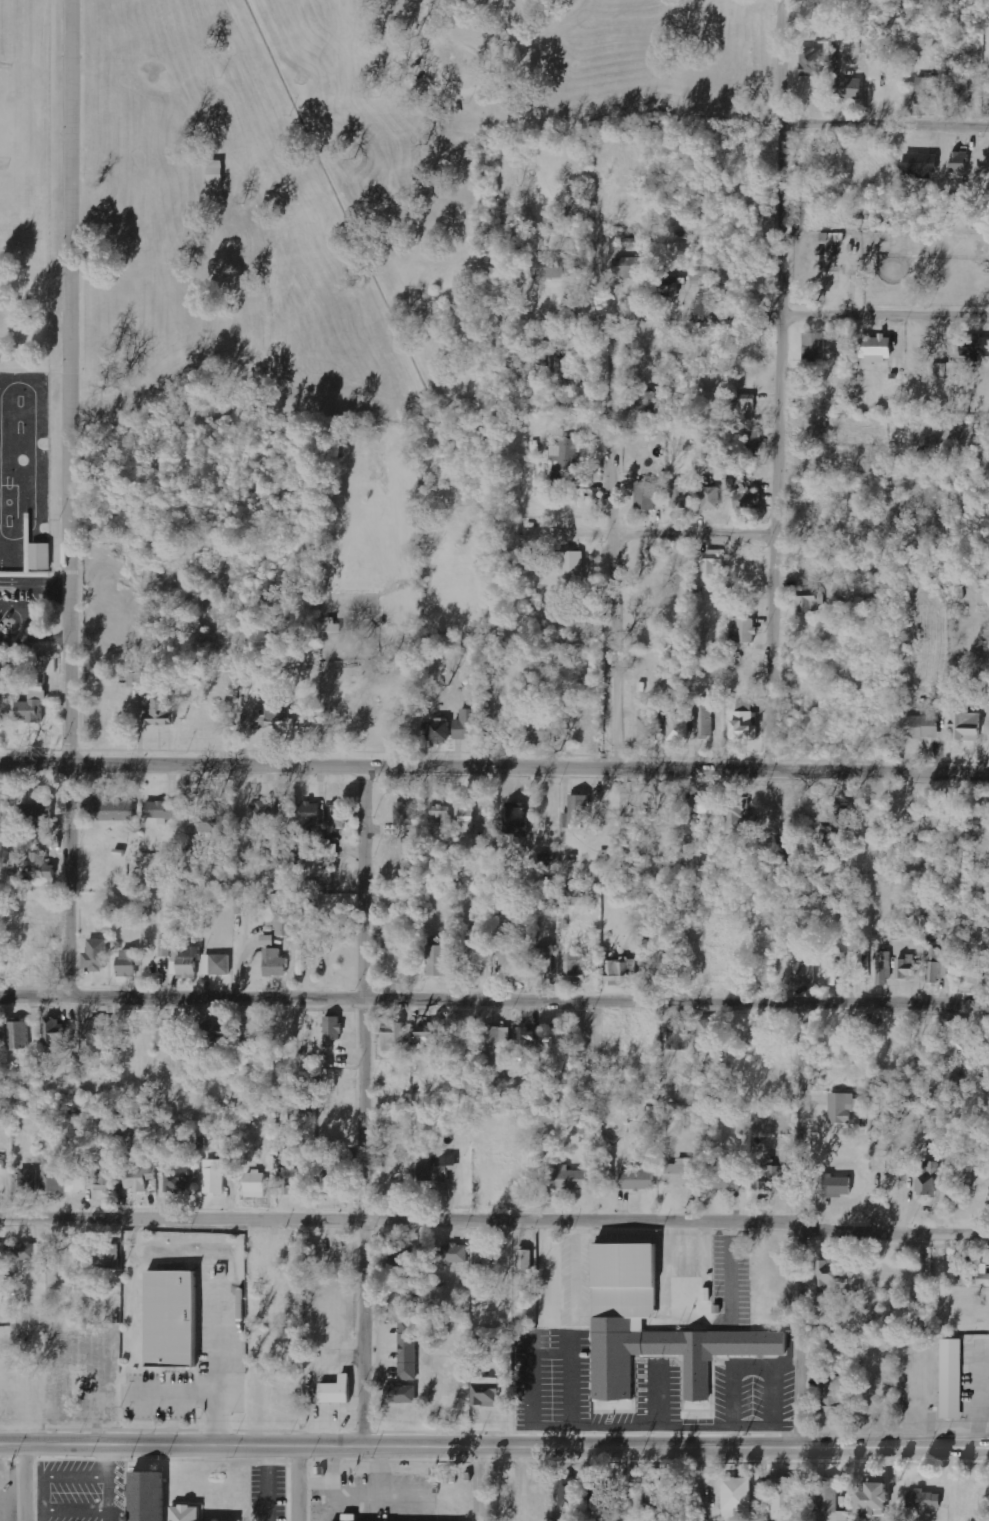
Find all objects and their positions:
building: (810, 60)
building: (926, 83)
building: (847, 88)
building: (962, 95)
road: (889, 120)
building: (960, 159)
building: (918, 165)
building: (213, 174)
building: (553, 266)
building: (701, 277)
park: (365, 278)
building: (667, 286)
road: (764, 310)
building: (973, 347)
building: (874, 348)
building: (545, 368)
road: (787, 382)
building: (648, 401)
building: (745, 402)
building: (815, 428)
building: (753, 438)
building: (566, 453)
building: (864, 454)
building: (677, 494)
building: (644, 496)
road: (69, 497)
building: (710, 498)
building: (745, 498)
road: (650, 529)
road: (619, 538)
building: (43, 556)
building: (713, 563)
building: (572, 566)
building: (808, 600)
building: (742, 630)
building: (52, 666)
building: (138, 679)
building: (35, 707)
building: (157, 709)
building: (271, 716)
building: (703, 719)
building: (742, 723)
building: (467, 724)
building: (647, 725)
building: (676, 726)
building: (919, 726)
building: (965, 726)
building: (437, 729)
building: (539, 731)
road: (494, 761)
building: (699, 803)
building: (107, 809)
building: (406, 813)
building: (37, 814)
building: (308, 816)
building: (338, 816)
building: (739, 816)
building: (262, 817)
building: (443, 817)
building: (467, 819)
building: (514, 821)
building: (837, 822)
building: (207, 823)
building: (486, 841)
building: (268, 845)
building: (331, 851)
building: (31, 871)
building: (984, 887)
building: (284, 925)
building: (511, 953)
building: (94, 955)
building: (438, 957)
building: (543, 960)
building: (184, 961)
building: (127, 962)
building: (272, 962)
building: (215, 964)
building: (935, 964)
building: (906, 967)
building: (575, 968)
building: (837, 968)
building: (864, 968)
building: (883, 968)
building: (619, 970)
building: (803, 972)
road: (494, 997)
building: (331, 1030)
building: (708, 1030)
building: (212, 1031)
building: (53, 1032)
building: (429, 1033)
building: (16, 1034)
building: (95, 1034)
building: (392, 1035)
building: (954, 1035)
building: (526, 1036)
building: (553, 1037)
building: (677, 1037)
building: (497, 1050)
road: (369, 1102)
building: (840, 1107)
building: (938, 1118)
building: (347, 1159)
building: (1, 1164)
building: (433, 1169)
building: (682, 1172)
building: (105, 1174)
building: (769, 1176)
building: (138, 1177)
building: (213, 1177)
building: (76, 1178)
building: (568, 1178)
building: (175, 1179)
building: (636, 1179)
building: (927, 1179)
building: (27, 1181)
building: (724, 1181)
building: (292, 1182)
building: (254, 1184)
building: (836, 1186)
road: (494, 1218)
road: (808, 1224)
building: (4, 1251)
building: (28, 1251)
building: (453, 1254)
building: (105, 1256)
building: (986, 1258)
building: (524, 1260)
building: (403, 1263)
building: (824, 1273)
building: (983, 1279)
building: (403, 1301)
building: (165, 1317)
building: (615, 1321)
building: (194, 1342)
building: (407, 1349)
building: (947, 1380)
building: (399, 1394)
building: (482, 1394)
building: (830, 1396)
road: (494, 1448)
road: (23, 1483)
road: (294, 1483)
road: (471, 1484)
road: (623, 1487)
building: (570, 1491)
building: (143, 1493)
building: (654, 1493)
building: (783, 1498)
building: (737, 1499)
building: (872, 1499)
building: (923, 1501)
building: (183, 1511)
building: (346, 1518)

